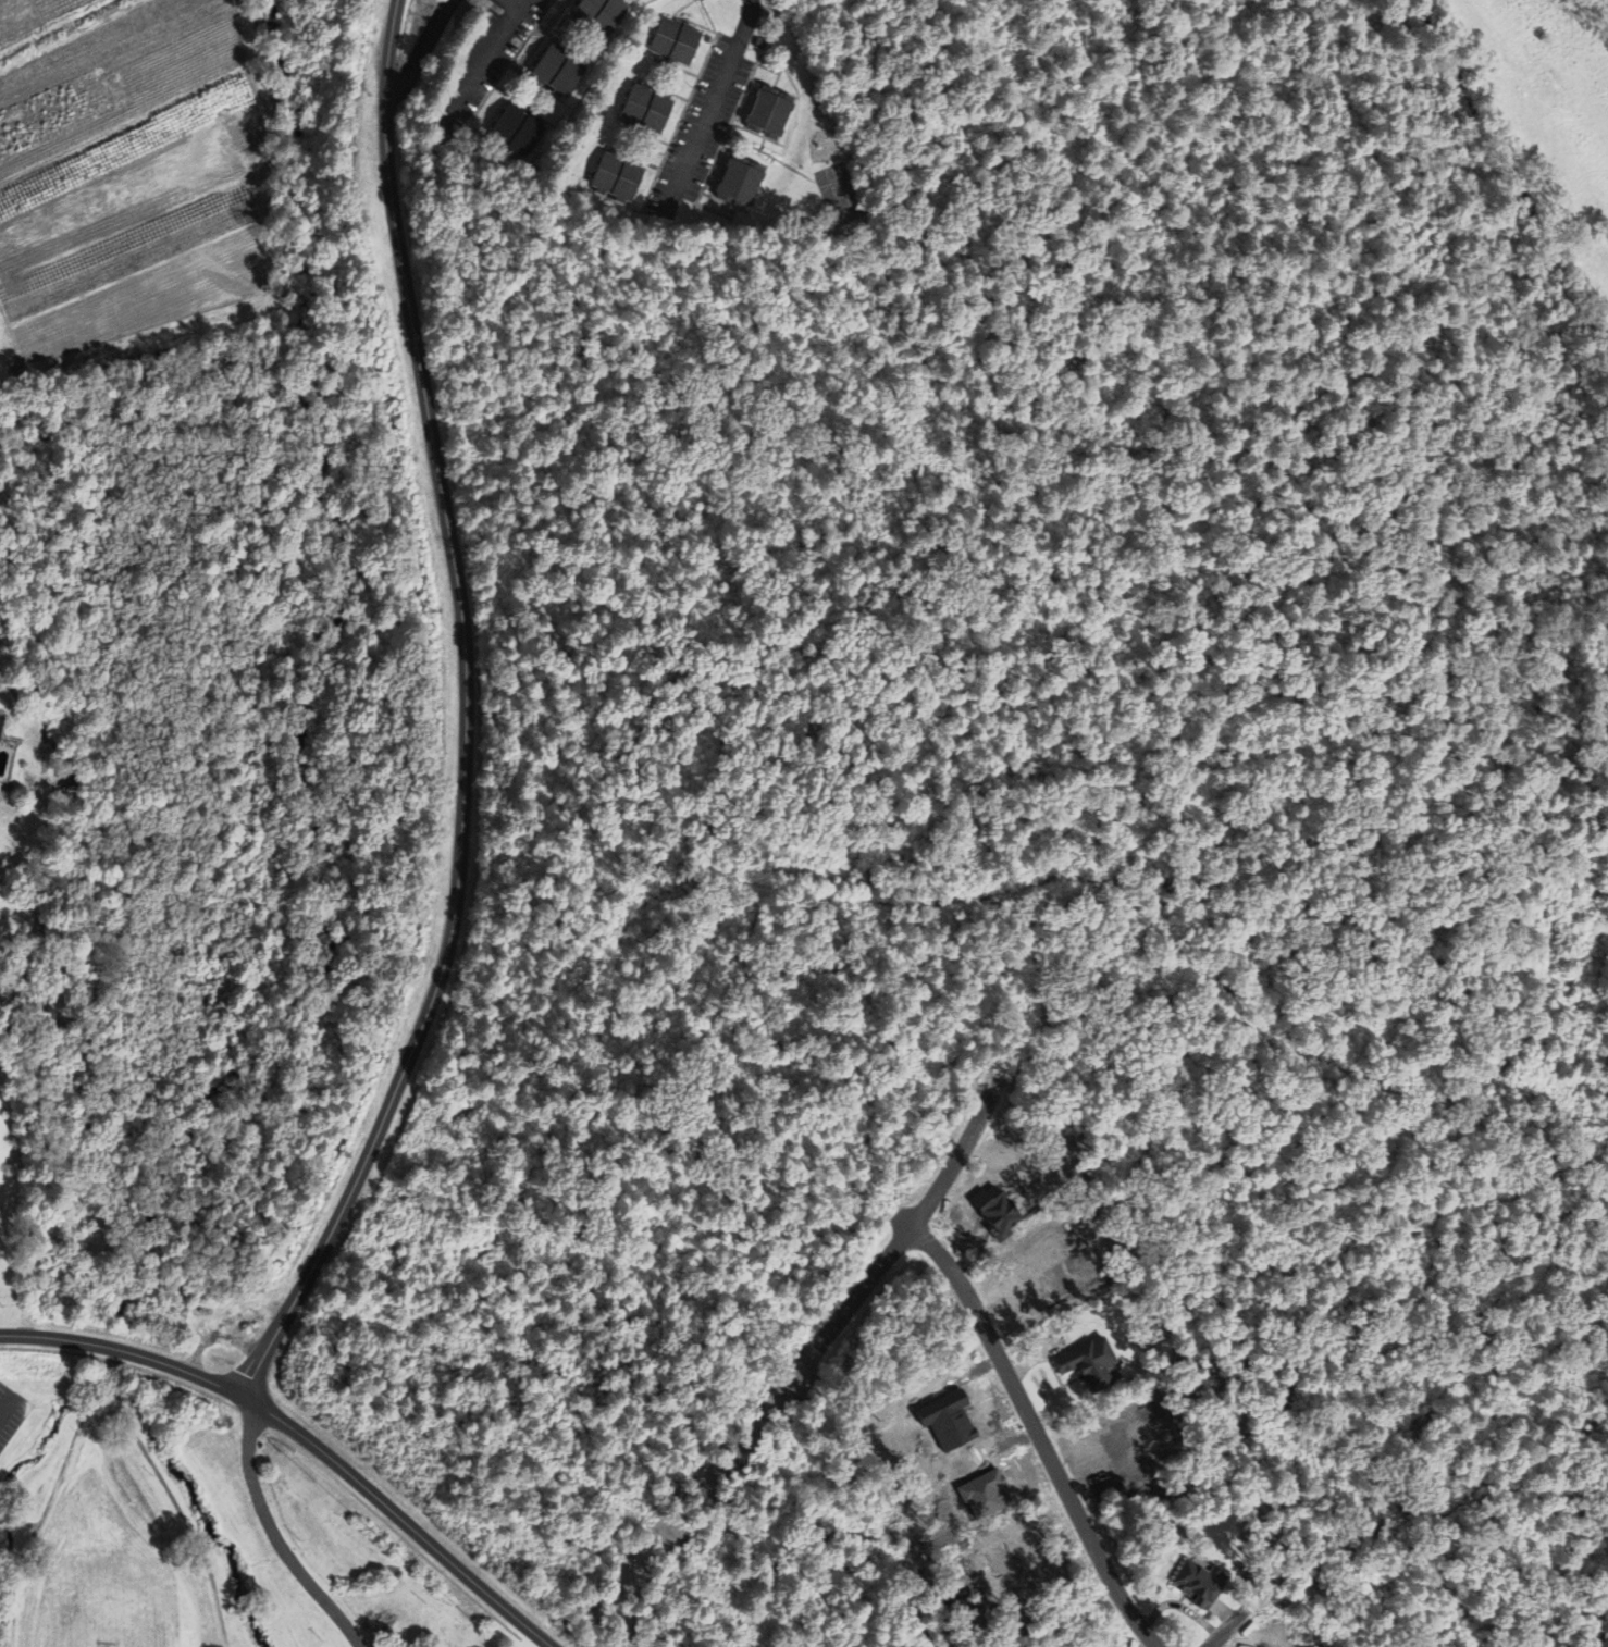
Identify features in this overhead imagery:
road: (510, 4)
building: (603, 14)
road: (72, 35)
building: (676, 41)
road: (423, 51)
road: (482, 60)
building: (561, 71)
road: (712, 108)
building: (647, 110)
building: (771, 113)
building: (519, 132)
road: (127, 137)
building: (618, 177)
building: (741, 183)
road: (268, 300)
road: (462, 719)
building: (1, 727)
road: (916, 1215)
road: (12, 1337)
road: (140, 1358)
building: (1087, 1363)
road: (4, 1404)
road: (110, 1412)
parking lot: (12, 1415)
road: (1036, 1435)
road: (332, 1462)
park: (197, 1522)
road: (9, 1523)
road: (28, 1526)
road: (273, 1536)
road: (467, 1578)
building: (1198, 1584)
road: (1227, 1629)
road: (535, 1638)
park: (73, 1645)

